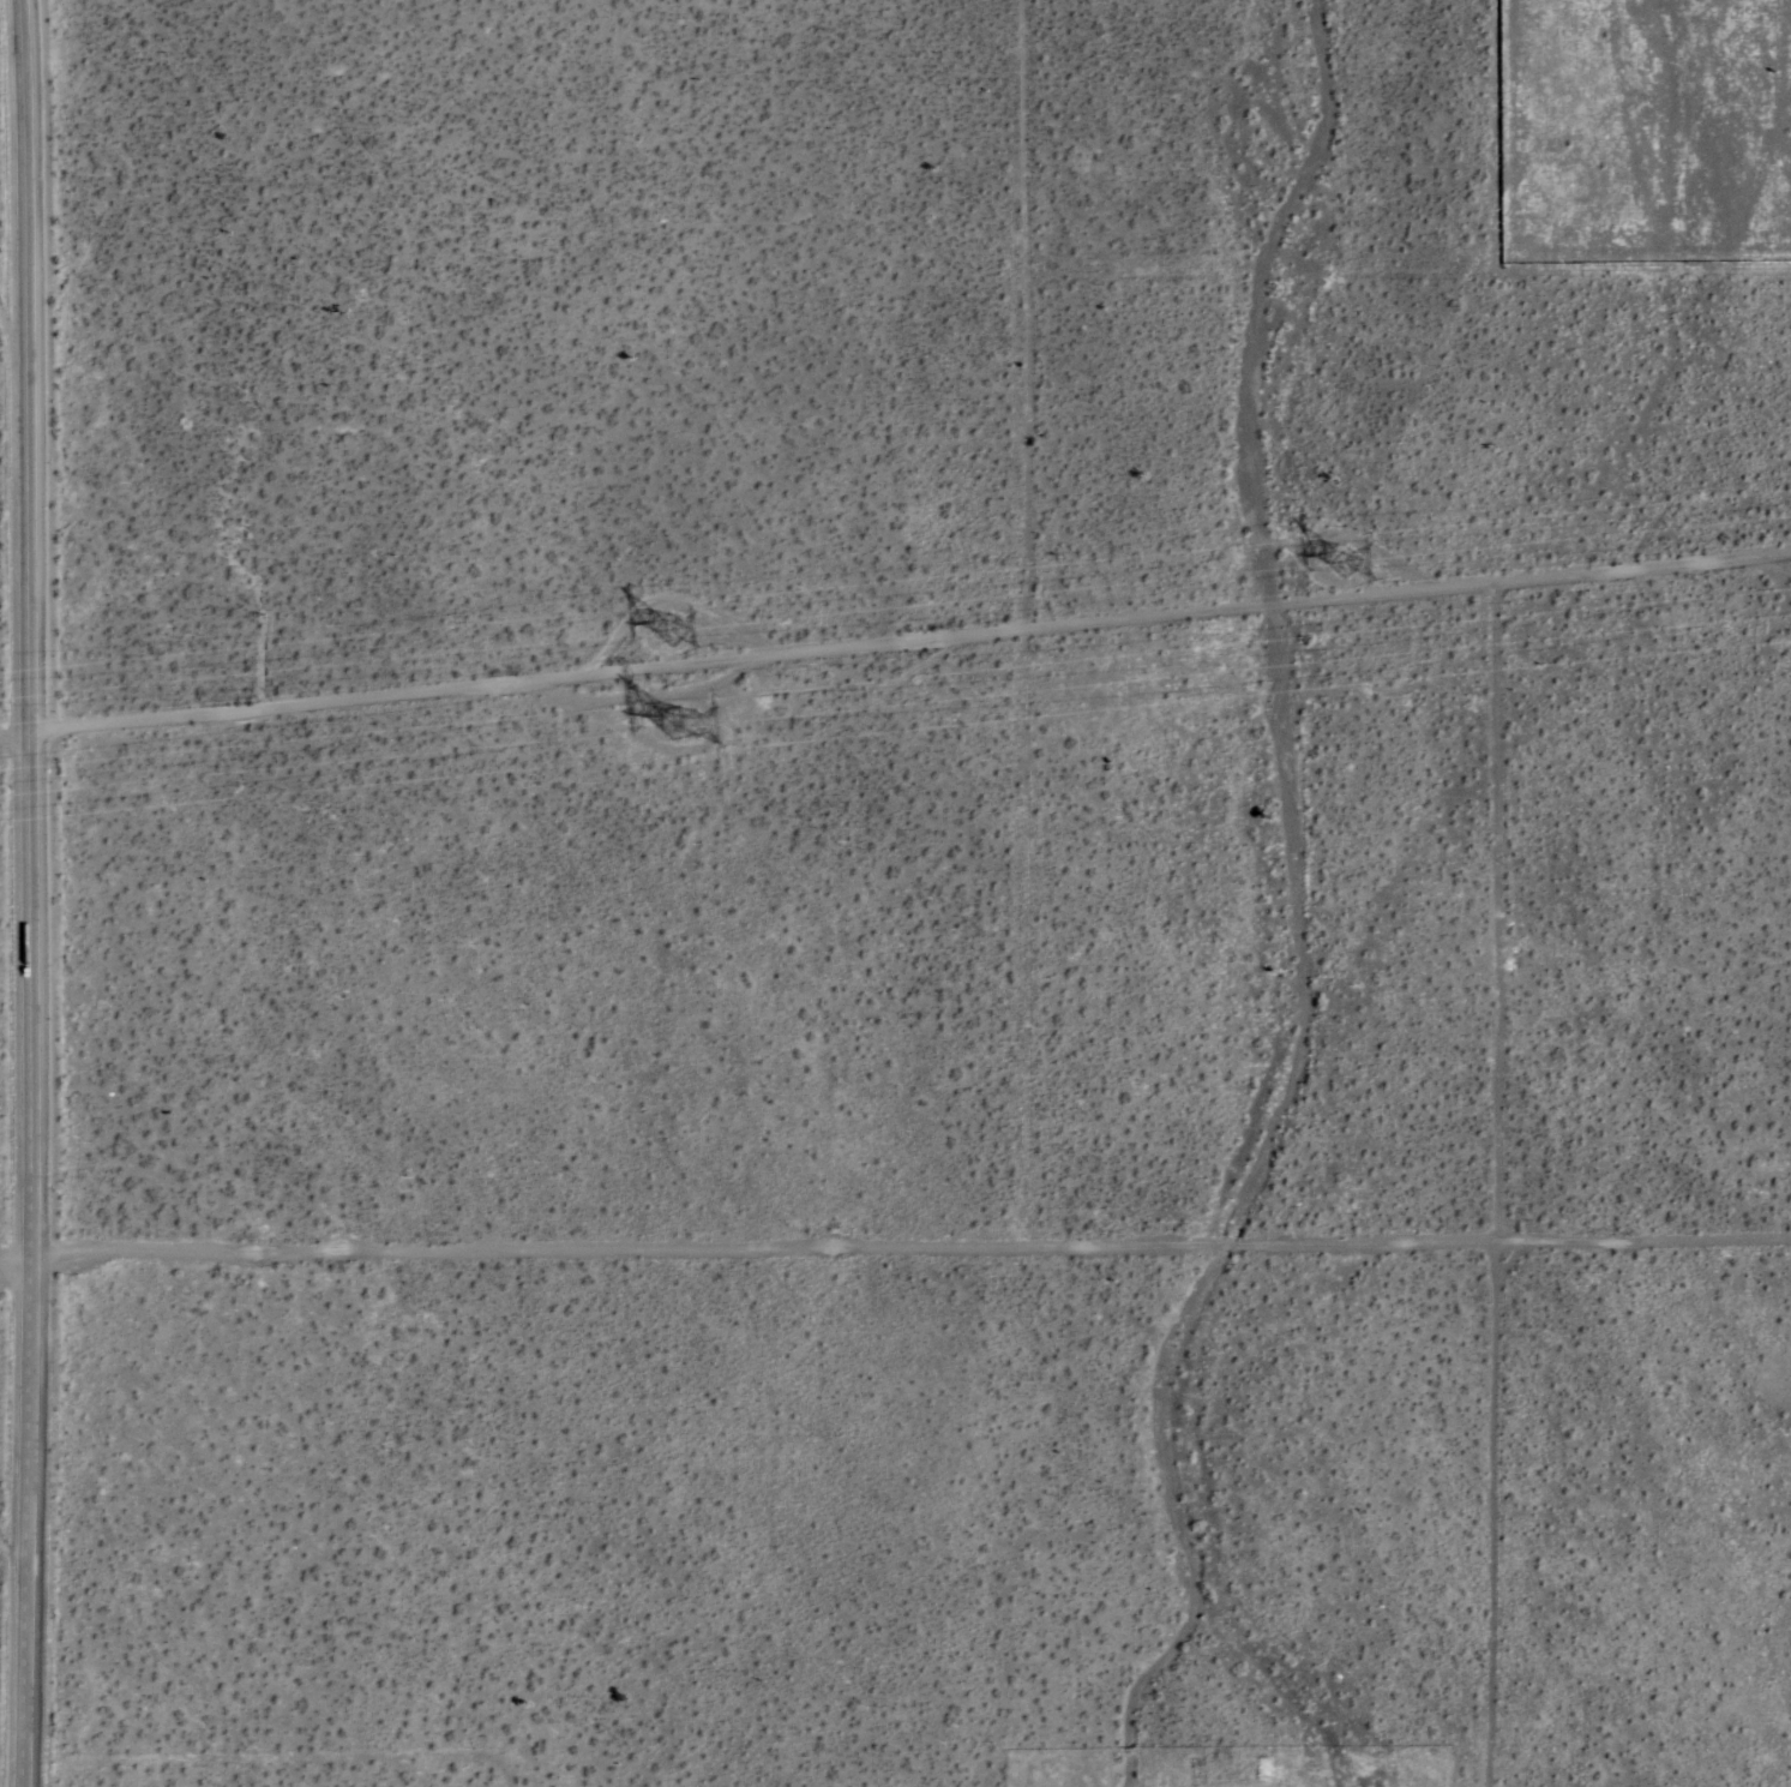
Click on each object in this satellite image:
road: (1405, 295)
power tower: (1345, 566)
road: (1026, 618)
power tower: (669, 632)
road: (895, 649)
power tower: (678, 728)
road: (30, 893)
road: (1499, 921)
road: (912, 1237)
road: (17, 1247)
road: (1489, 1517)

